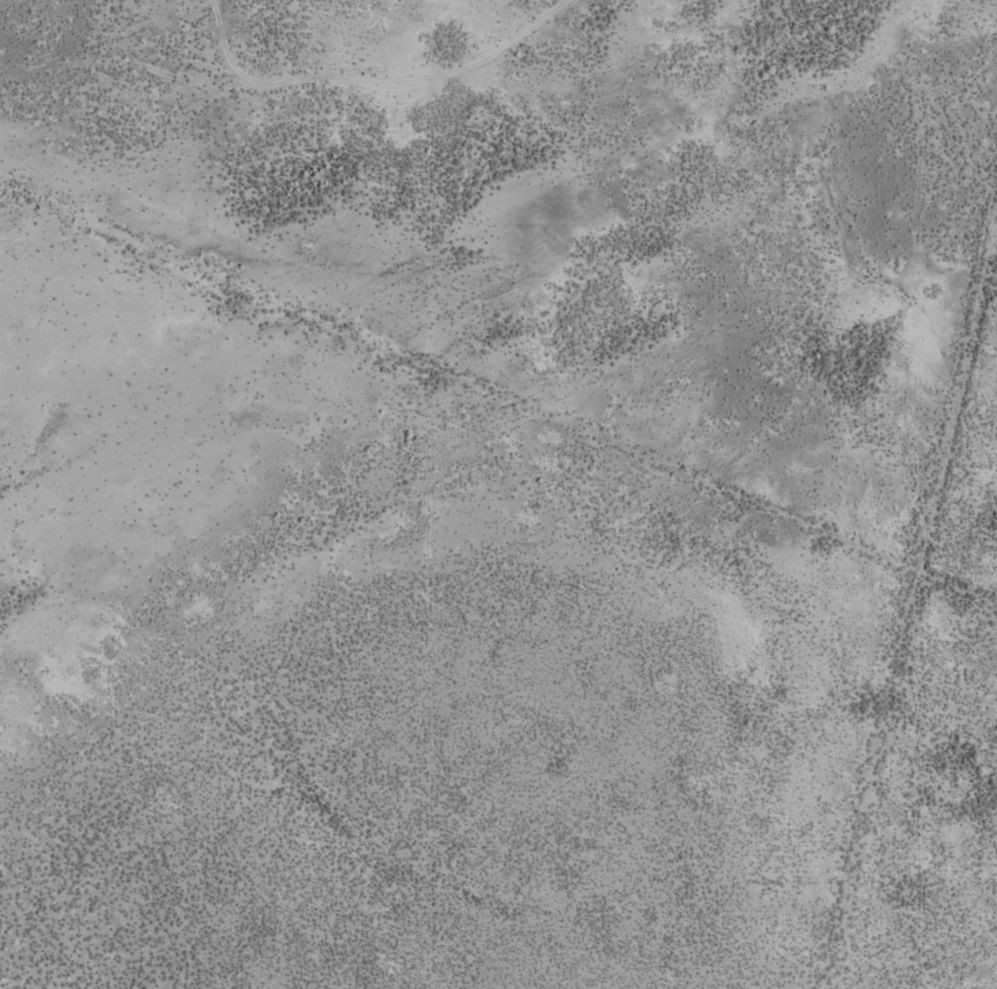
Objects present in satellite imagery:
road: (558, 378)

